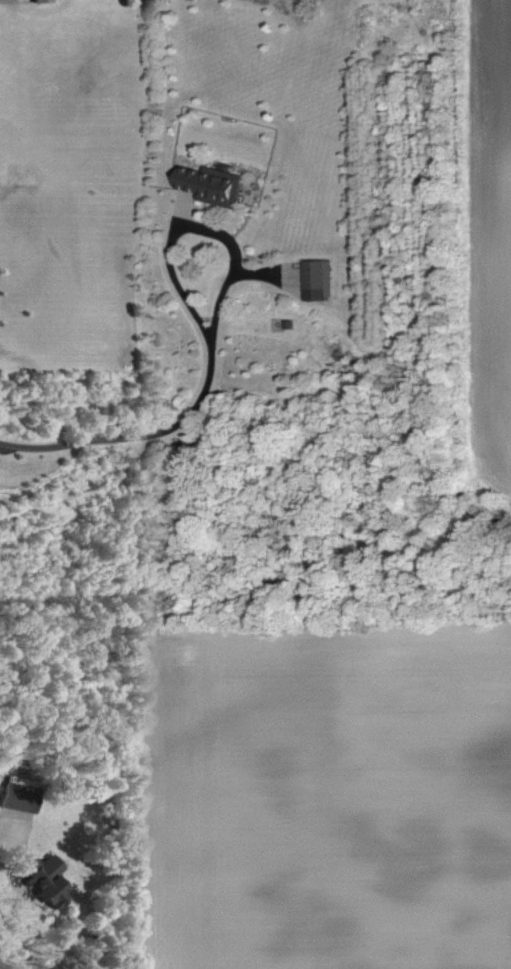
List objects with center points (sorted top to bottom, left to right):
building: (43, 1)
building: (218, 184)
road: (194, 228)
building: (322, 278)
road: (138, 439)
building: (23, 793)
road: (9, 836)
building: (47, 878)

